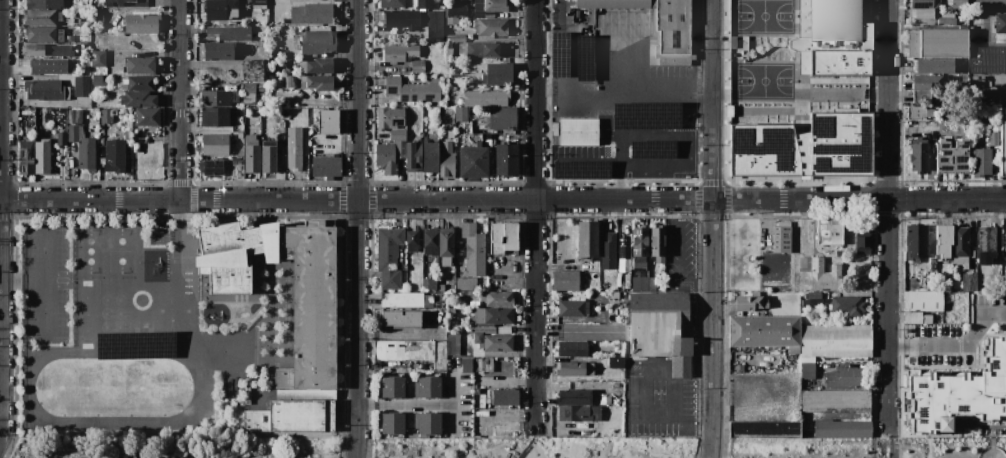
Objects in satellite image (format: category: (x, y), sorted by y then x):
building: (463, 0)
building: (259, 2)
building: (140, 3)
building: (44, 4)
building: (107, 4)
building: (392, 4)
building: (428, 4)
building: (926, 4)
building: (959, 4)
building: (493, 5)
building: (218, 8)
building: (461, 11)
building: (450, 12)
building: (487, 13)
building: (922, 13)
building: (311, 14)
building: (431, 14)
building: (98, 15)
building: (947, 15)
building: (40, 17)
building: (59, 17)
building: (961, 18)
building: (403, 19)
building: (432, 20)
building: (947, 20)
building: (283, 21)
building: (451, 21)
building: (141, 23)
building: (1000, 23)
building: (660, 25)
building: (491, 27)
building: (449, 31)
building: (230, 32)
building: (435, 33)
building: (970, 33)
building: (40, 34)
building: (70, 38)
building: (455, 38)
building: (832, 38)
building: (318, 42)
building: (938, 43)
building: (255, 45)
building: (449, 45)
building: (242, 46)
building: (249, 47)
building: (33, 49)
building: (219, 50)
building: (486, 50)
building: (62, 51)
building: (399, 52)
building: (449, 53)
building: (98, 58)
building: (988, 60)
road: (569, 64)
building: (139, 65)
building: (934, 65)
building: (49, 66)
building: (316, 66)
building: (418, 66)
building: (252, 70)
building: (497, 74)
building: (97, 79)
building: (290, 81)
building: (140, 82)
building: (124, 83)
building: (319, 83)
building: (302, 84)
building: (82, 86)
building: (925, 87)
building: (248, 88)
building: (43, 89)
building: (412, 89)
building: (66, 93)
road: (634, 93)
building: (486, 98)
building: (137, 99)
road: (182, 99)
building: (216, 99)
building: (248, 99)
building: (98, 101)
building: (290, 102)
building: (71, 112)
building: (915, 112)
building: (461, 114)
building: (631, 114)
building: (106, 116)
building: (217, 116)
building: (287, 116)
building: (146, 117)
building: (389, 118)
building: (501, 119)
building: (328, 121)
building: (674, 124)
building: (579, 132)
building: (623, 132)
building: (73, 133)
building: (635, 134)
building: (398, 135)
building: (128, 136)
building: (475, 137)
building: (61, 138)
building: (993, 139)
building: (1003, 142)
building: (216, 144)
building: (804, 147)
building: (294, 148)
building: (674, 148)
building: (399, 149)
building: (430, 153)
building: (86, 154)
building: (251, 154)
building: (115, 155)
building: (413, 155)
building: (919, 155)
building: (952, 156)
building: (42, 157)
building: (268, 157)
building: (26, 158)
building: (385, 159)
building: (446, 160)
building: (506, 160)
building: (980, 161)
building: (473, 162)
building: (674, 165)
building: (213, 167)
building: (326, 167)
building: (238, 170)
building: (574, 170)
building: (618, 170)
road: (502, 199)
road: (889, 213)
road: (537, 214)
road: (4, 219)
building: (161, 225)
road: (360, 229)
road: (715, 229)
building: (830, 232)
building: (502, 237)
road: (671, 237)
building: (782, 237)
building: (587, 239)
building: (986, 239)
road: (44, 240)
building: (412, 240)
building: (862, 240)
building: (943, 240)
building: (431, 241)
building: (640, 241)
building: (656, 241)
building: (960, 241)
building: (446, 242)
building: (916, 243)
building: (607, 249)
road: (179, 250)
building: (473, 250)
building: (233, 254)
building: (388, 256)
building: (985, 257)
building: (638, 258)
building: (659, 259)
building: (445, 261)
building: (960, 262)
building: (932, 263)
building: (804, 265)
building: (620, 266)
building: (627, 266)
building: (638, 267)
building: (463, 270)
building: (593, 275)
building: (824, 275)
building: (582, 279)
building: (620, 279)
building: (565, 280)
building: (627, 281)
road: (515, 282)
building: (969, 282)
building: (431, 283)
building: (466, 283)
building: (643, 284)
building: (651, 284)
building: (404, 286)
building: (588, 286)
building: (634, 286)
building: (948, 286)
building: (441, 287)
building: (596, 289)
road: (43, 290)
building: (441, 294)
building: (812, 295)
building: (482, 296)
building: (948, 296)
building: (498, 298)
building: (402, 300)
building: (923, 301)
building: (750, 303)
building: (813, 303)
building: (310, 304)
building: (479, 305)
building: (847, 305)
building: (827, 306)
building: (572, 308)
building: (457, 314)
building: (491, 316)
building: (401, 318)
building: (917, 318)
building: (484, 328)
building: (662, 329)
building: (764, 331)
building: (936, 339)
building: (836, 340)
building: (493, 342)
building: (452, 344)
building: (621, 344)
building: (574, 348)
building: (794, 350)
building: (411, 352)
building: (572, 363)
building: (466, 365)
building: (481, 365)
building: (488, 365)
building: (739, 368)
building: (807, 370)
building: (572, 372)
building: (846, 378)
building: (393, 387)
building: (428, 388)
building: (476, 390)
building: (247, 391)
building: (958, 392)
building: (489, 396)
building: (505, 397)
building: (573, 397)
road: (639, 397)
building: (602, 400)
building: (481, 401)
building: (835, 401)
road: (425, 402)
building: (615, 408)
building: (622, 408)
building: (574, 413)
building: (596, 413)
building: (290, 416)
road: (453, 417)
building: (393, 422)
building: (429, 422)
building: (611, 422)
road: (679, 423)
building: (842, 428)
building: (763, 429)
building: (594, 431)
road: (1, 441)
road: (894, 441)
road: (533, 444)
park: (178, 447)
park: (533, 447)
park: (865, 448)

